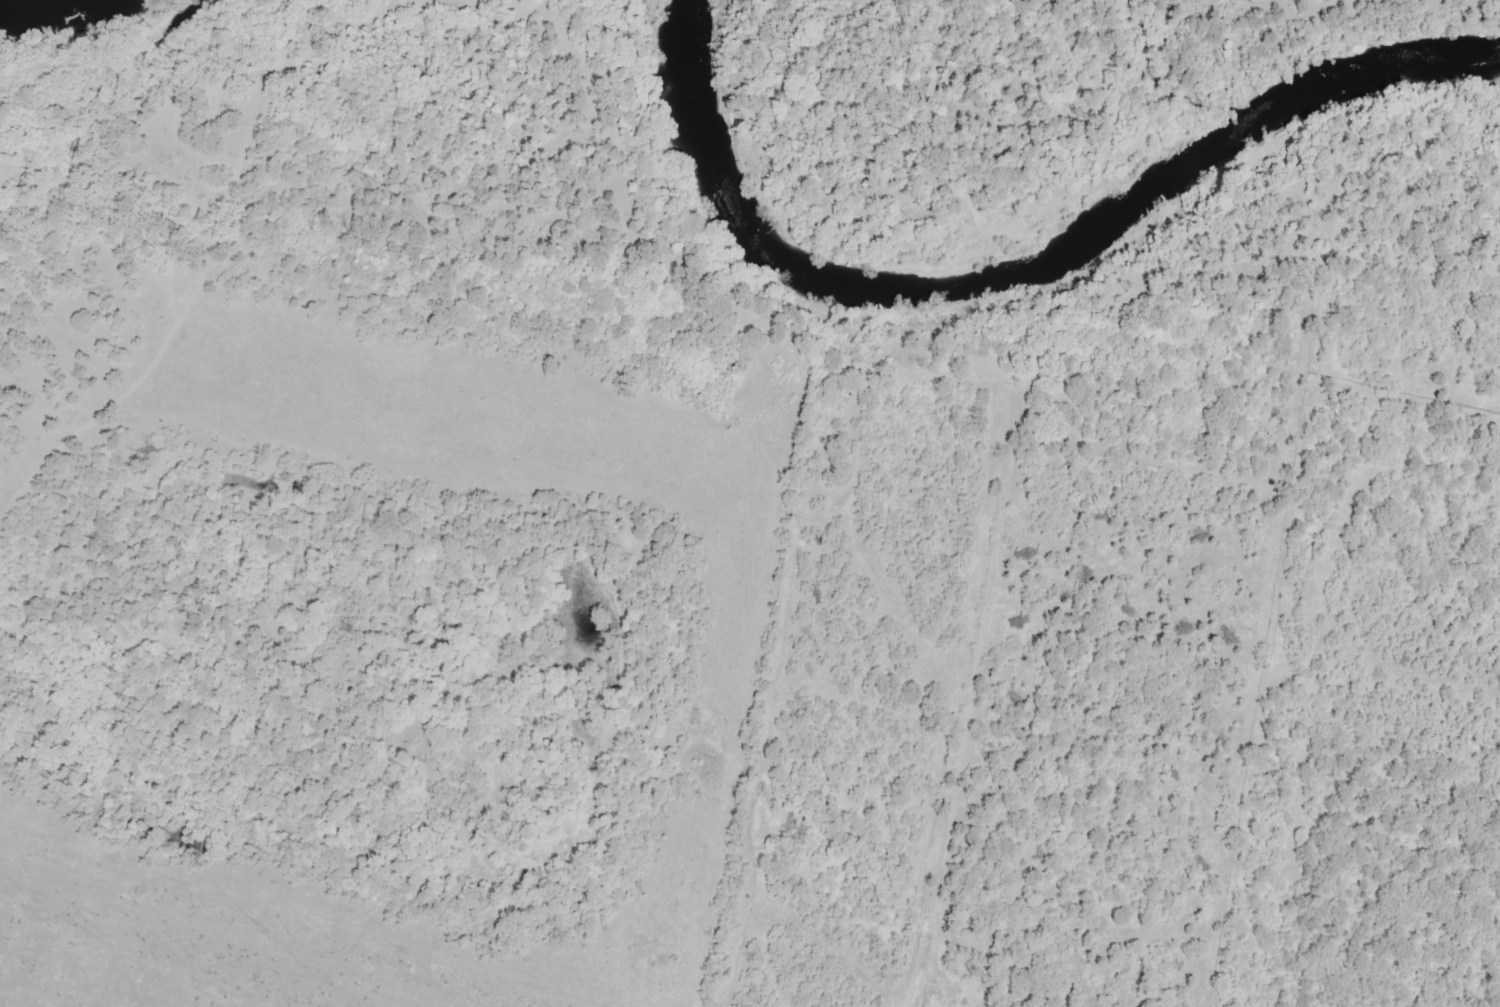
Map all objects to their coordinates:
river: (23, 2)
river: (1019, 272)

